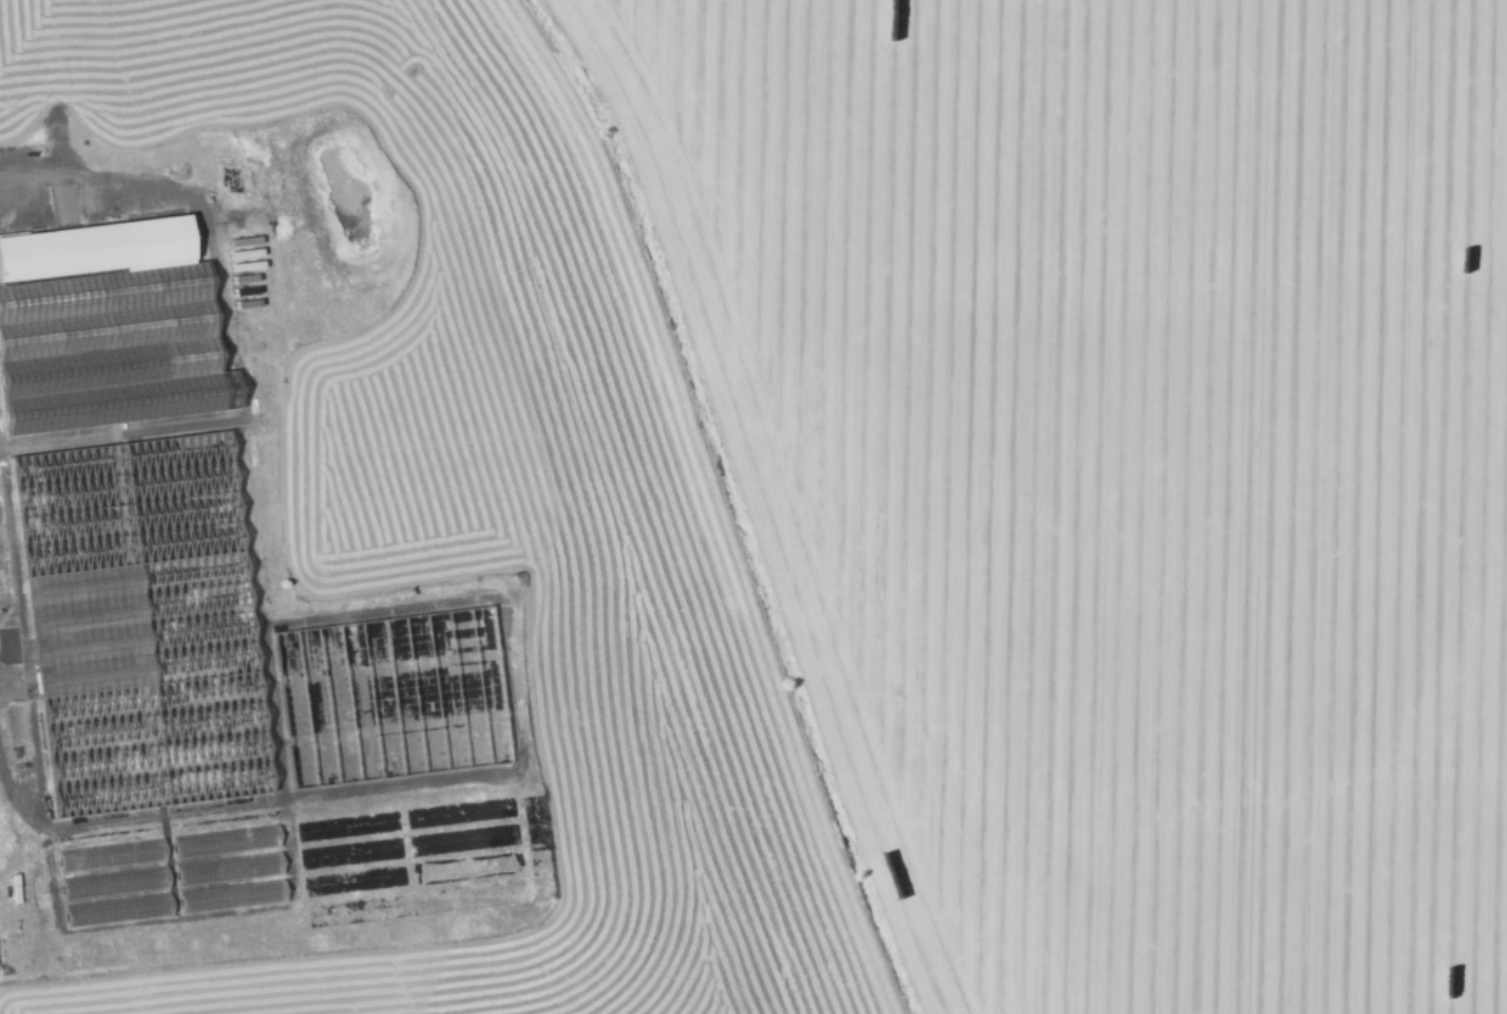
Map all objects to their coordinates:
building: (94, 246)
building: (109, 347)
road: (119, 429)
crop: (753, 507)
road: (429, 602)
building: (136, 623)
building: (387, 695)
road: (278, 762)
building: (221, 838)
building: (108, 851)
building: (225, 865)
building: (111, 880)
building: (228, 892)
building: (114, 906)

